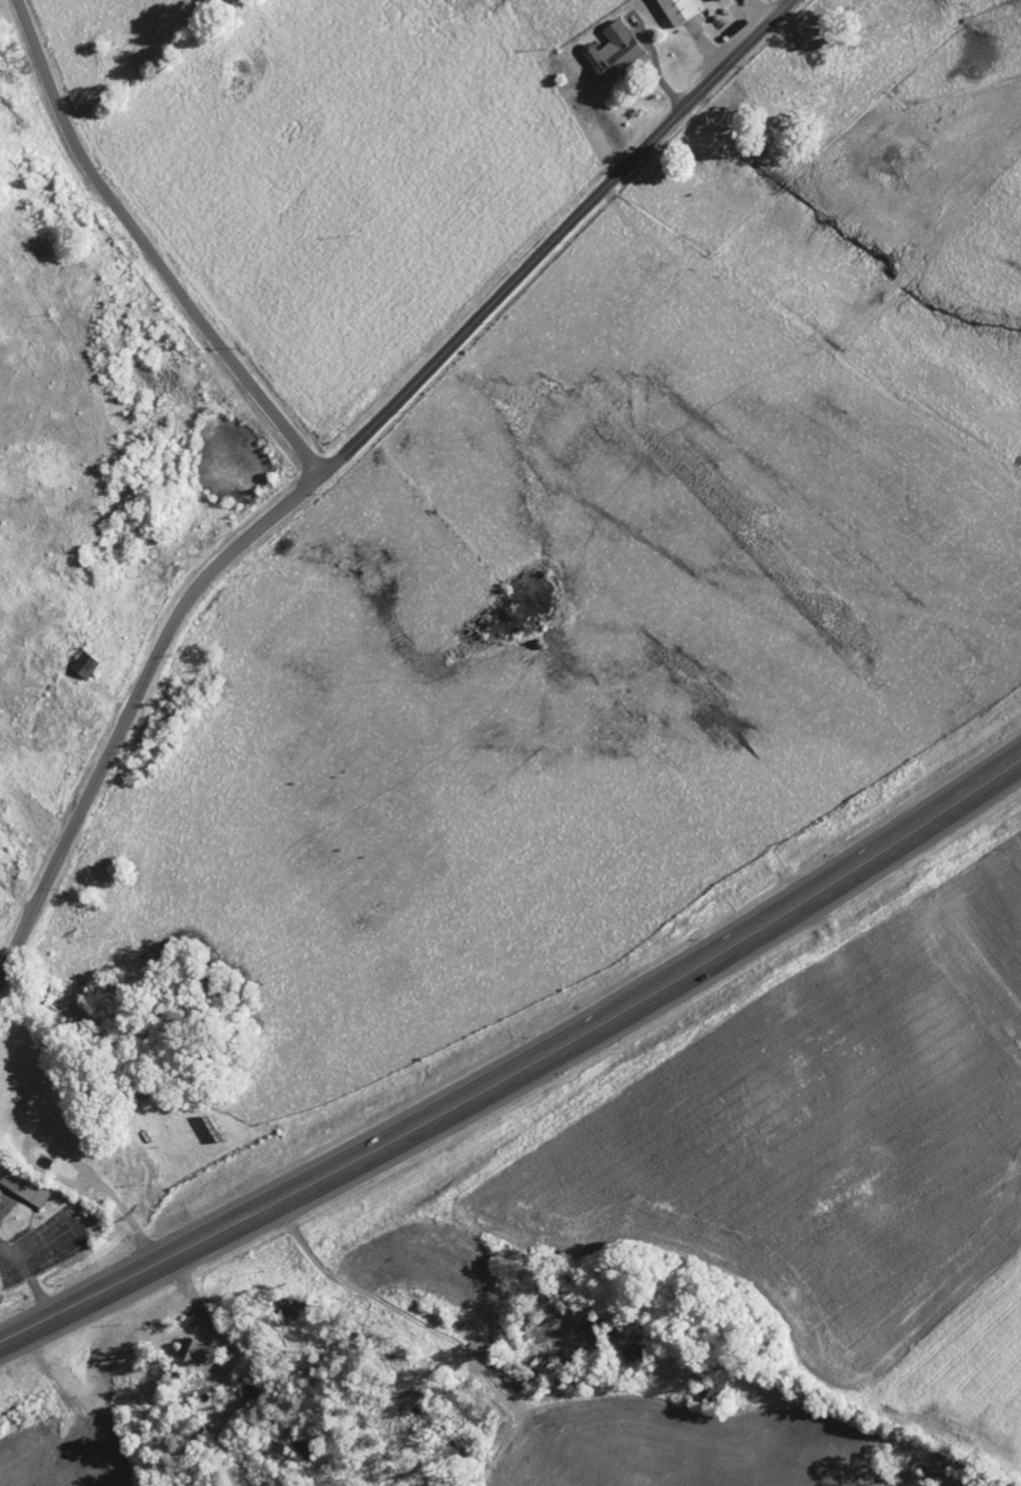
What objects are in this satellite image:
building: (721, 1)
building: (682, 11)
building: (617, 52)
road: (553, 239)
road: (148, 250)
building: (90, 665)
road: (130, 714)
road: (521, 1070)
building: (76, 1140)
building: (29, 1186)
building: (202, 1353)

